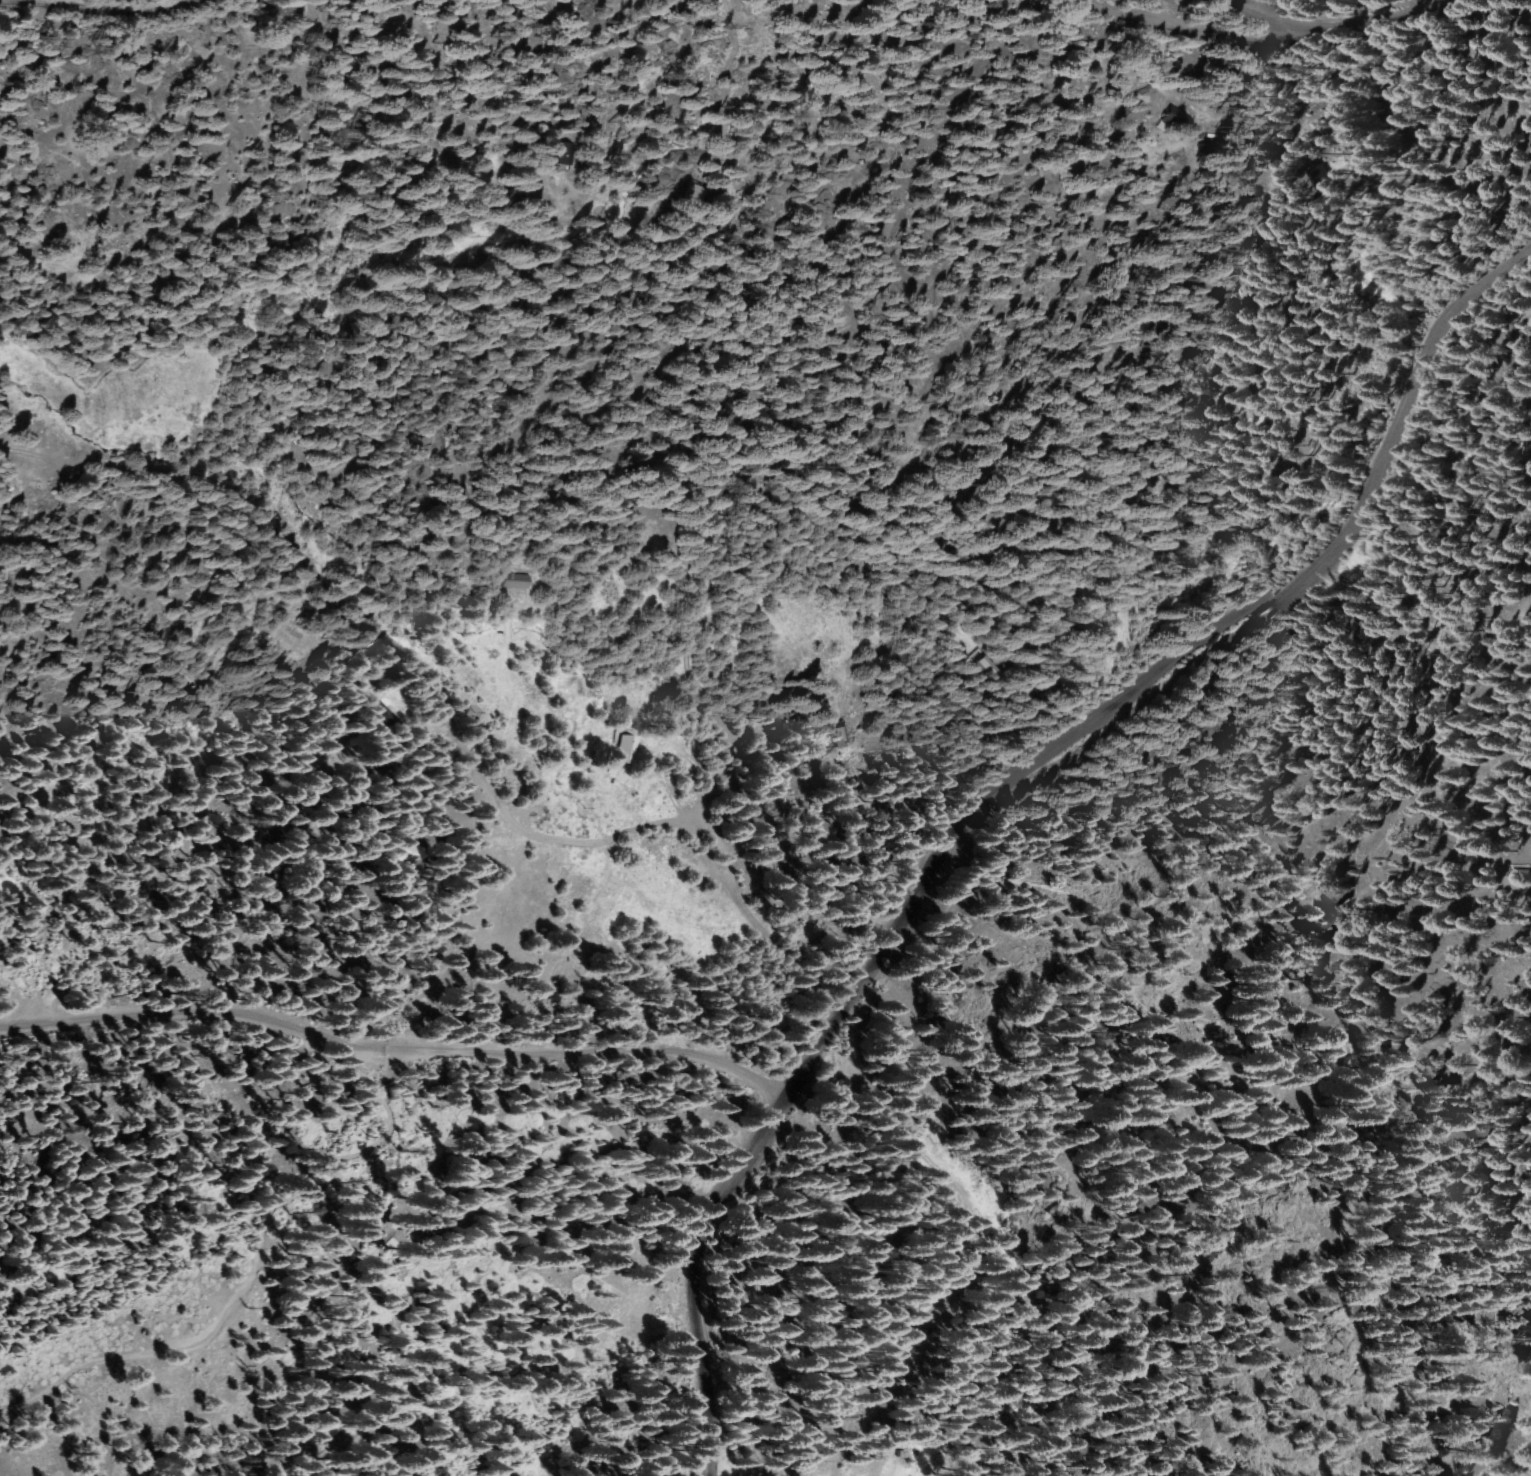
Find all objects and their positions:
road: (103, 9)
road: (1192, 32)
road: (1329, 32)
building: (1175, 118)
building: (568, 153)
building: (1309, 174)
building: (691, 194)
building: (7, 489)
building: (518, 580)
building: (635, 607)
building: (995, 667)
road: (444, 707)
building: (384, 713)
building: (838, 737)
building: (625, 746)
road: (997, 786)
building: (817, 828)
building: (1521, 874)
road: (392, 1050)
road: (349, 1169)
building: (891, 1453)

